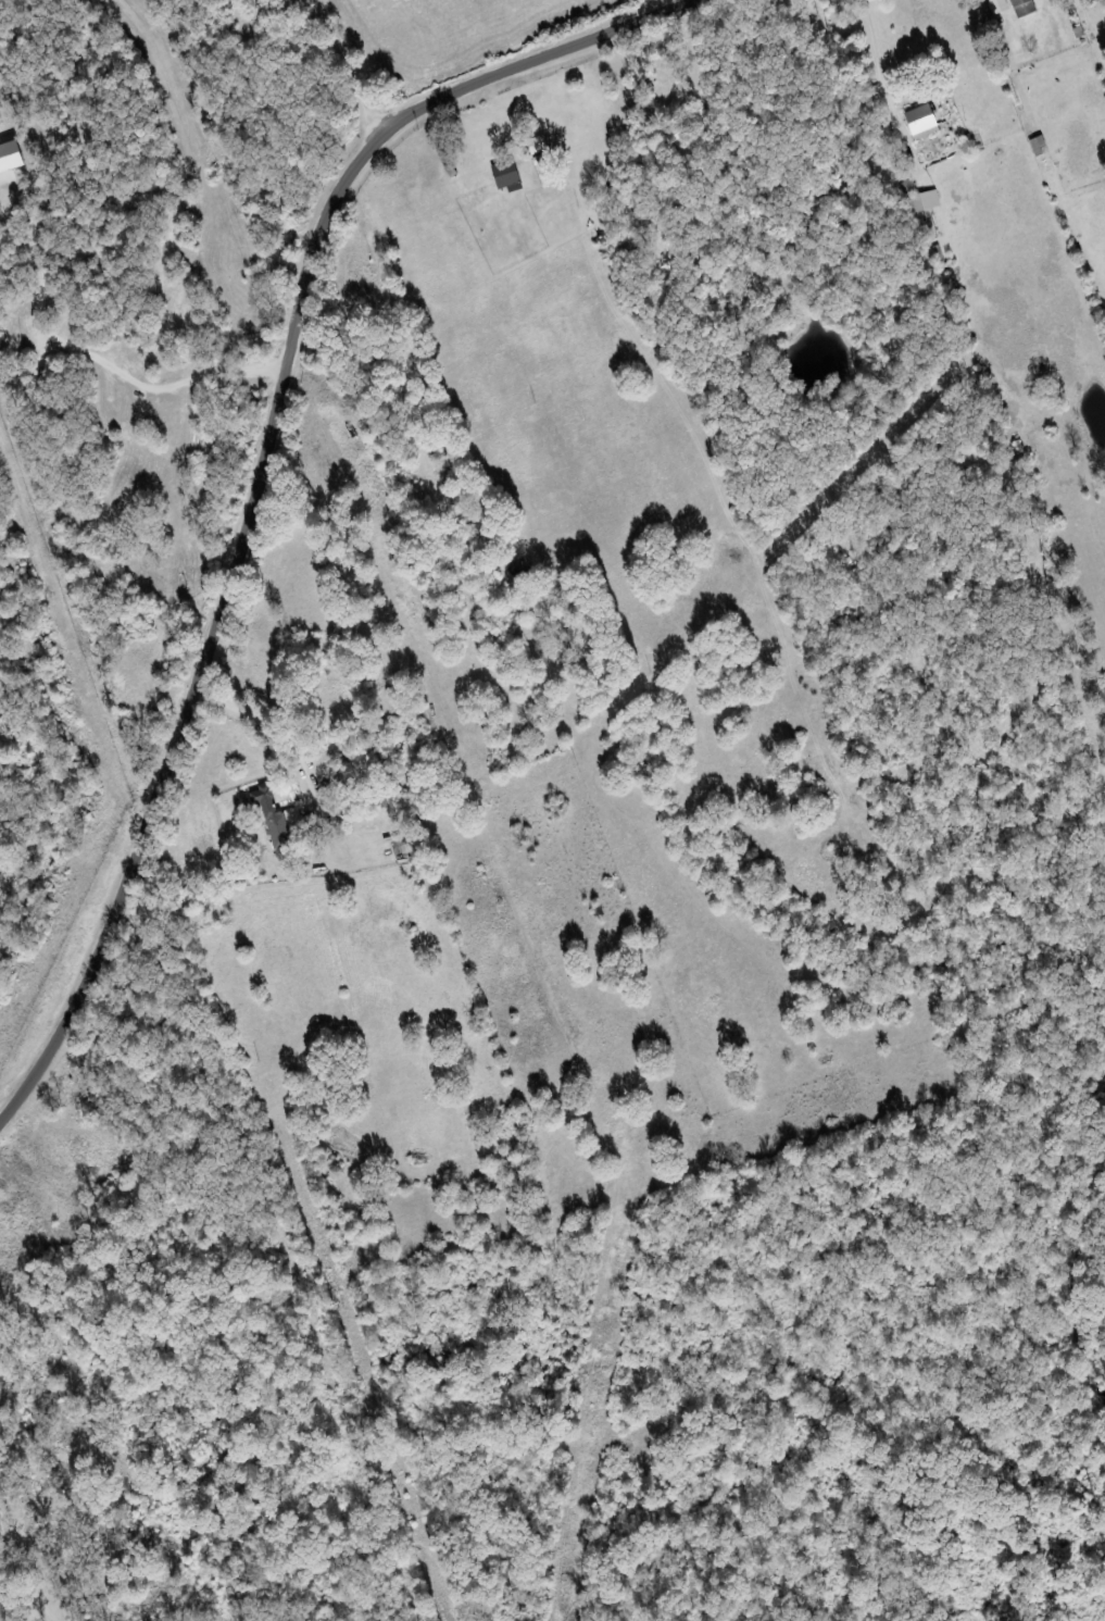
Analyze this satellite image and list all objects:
building: (1022, 3)
building: (1000, 7)
road: (352, 66)
building: (925, 121)
building: (540, 145)
building: (1040, 146)
building: (11, 158)
building: (510, 174)
road: (259, 478)
building: (288, 827)

